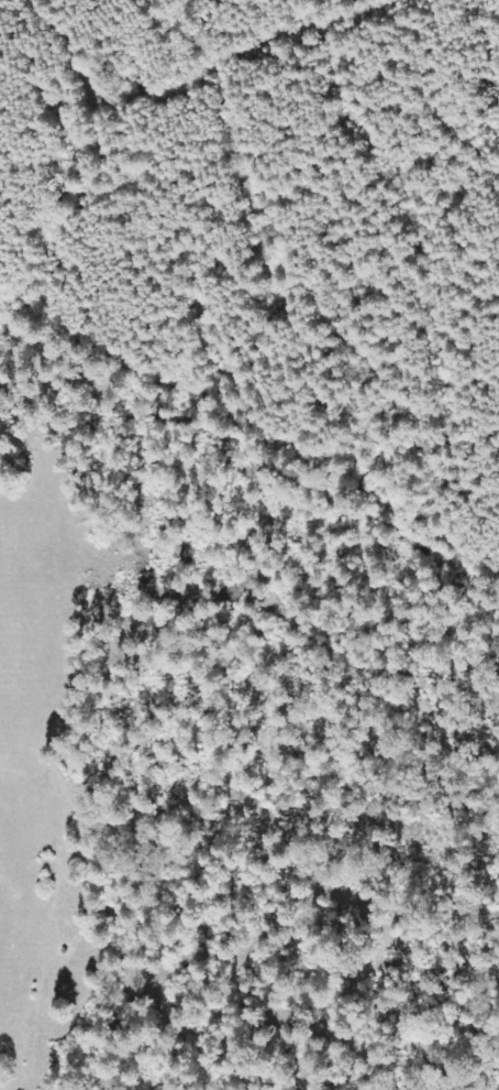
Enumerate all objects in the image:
road: (48, 724)

